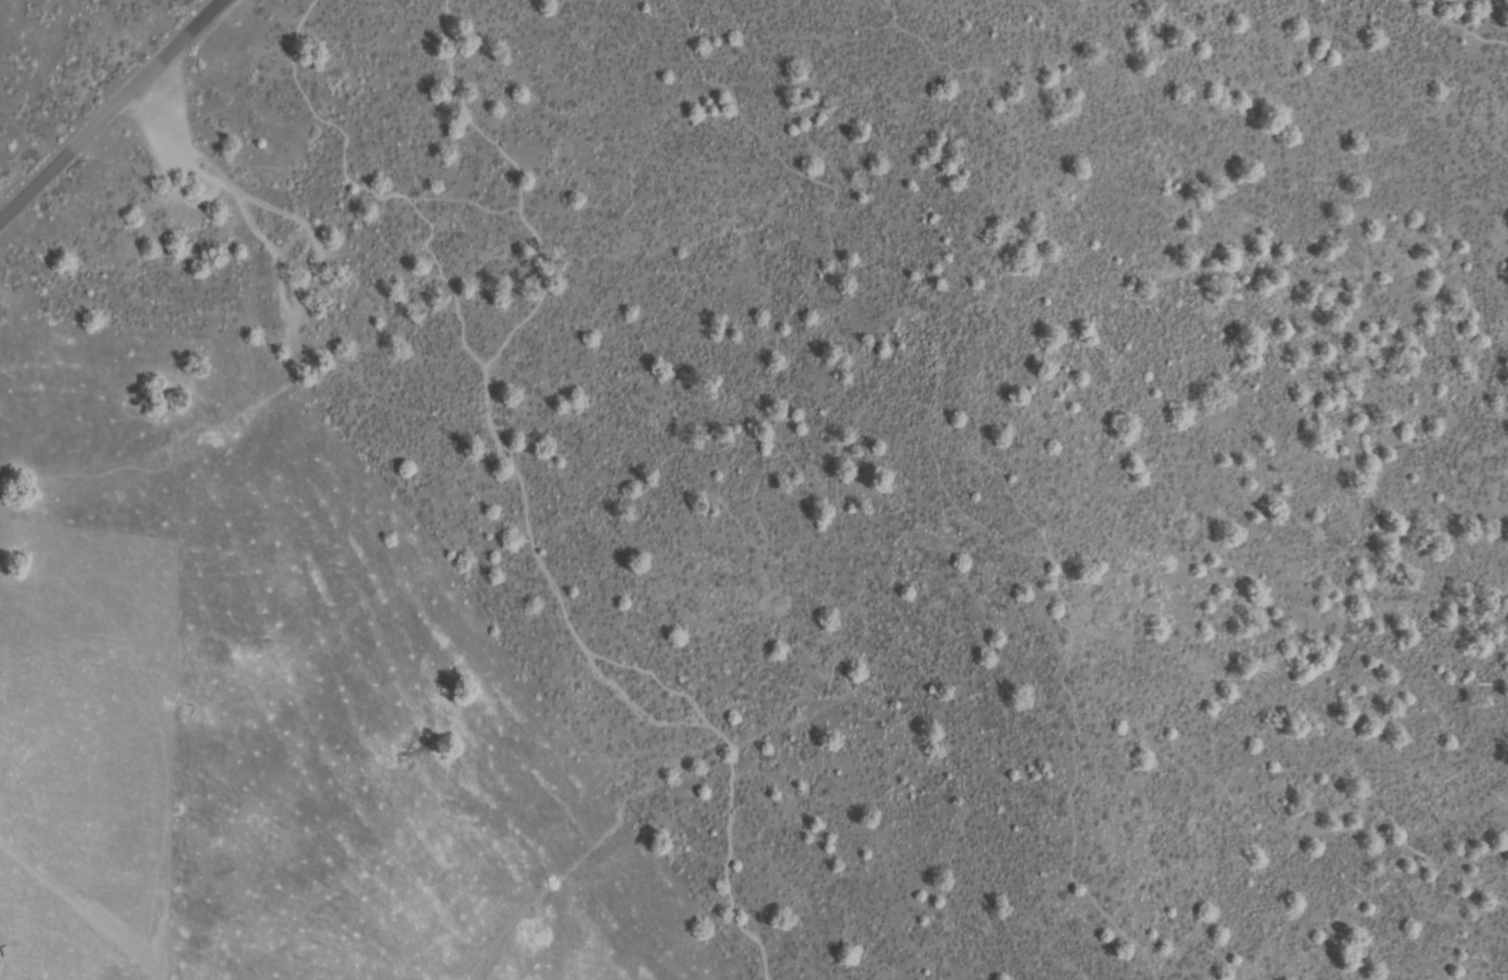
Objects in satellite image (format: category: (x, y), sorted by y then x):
road: (1449, 28)
road: (99, 98)
road: (463, 111)
road: (348, 164)
road: (854, 414)
road: (570, 624)
building: (5, 952)

